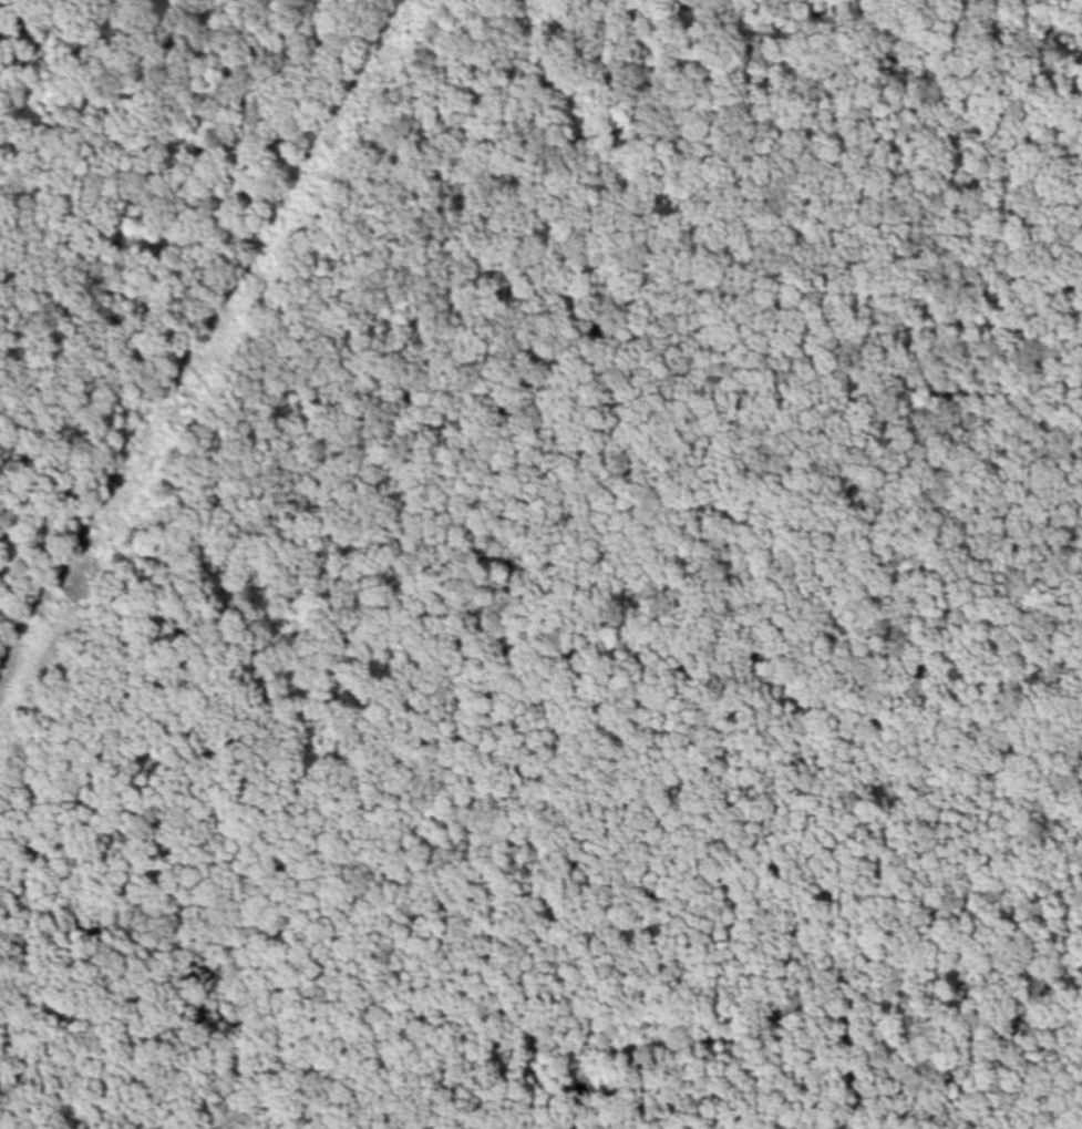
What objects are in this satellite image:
road: (780, 1013)

